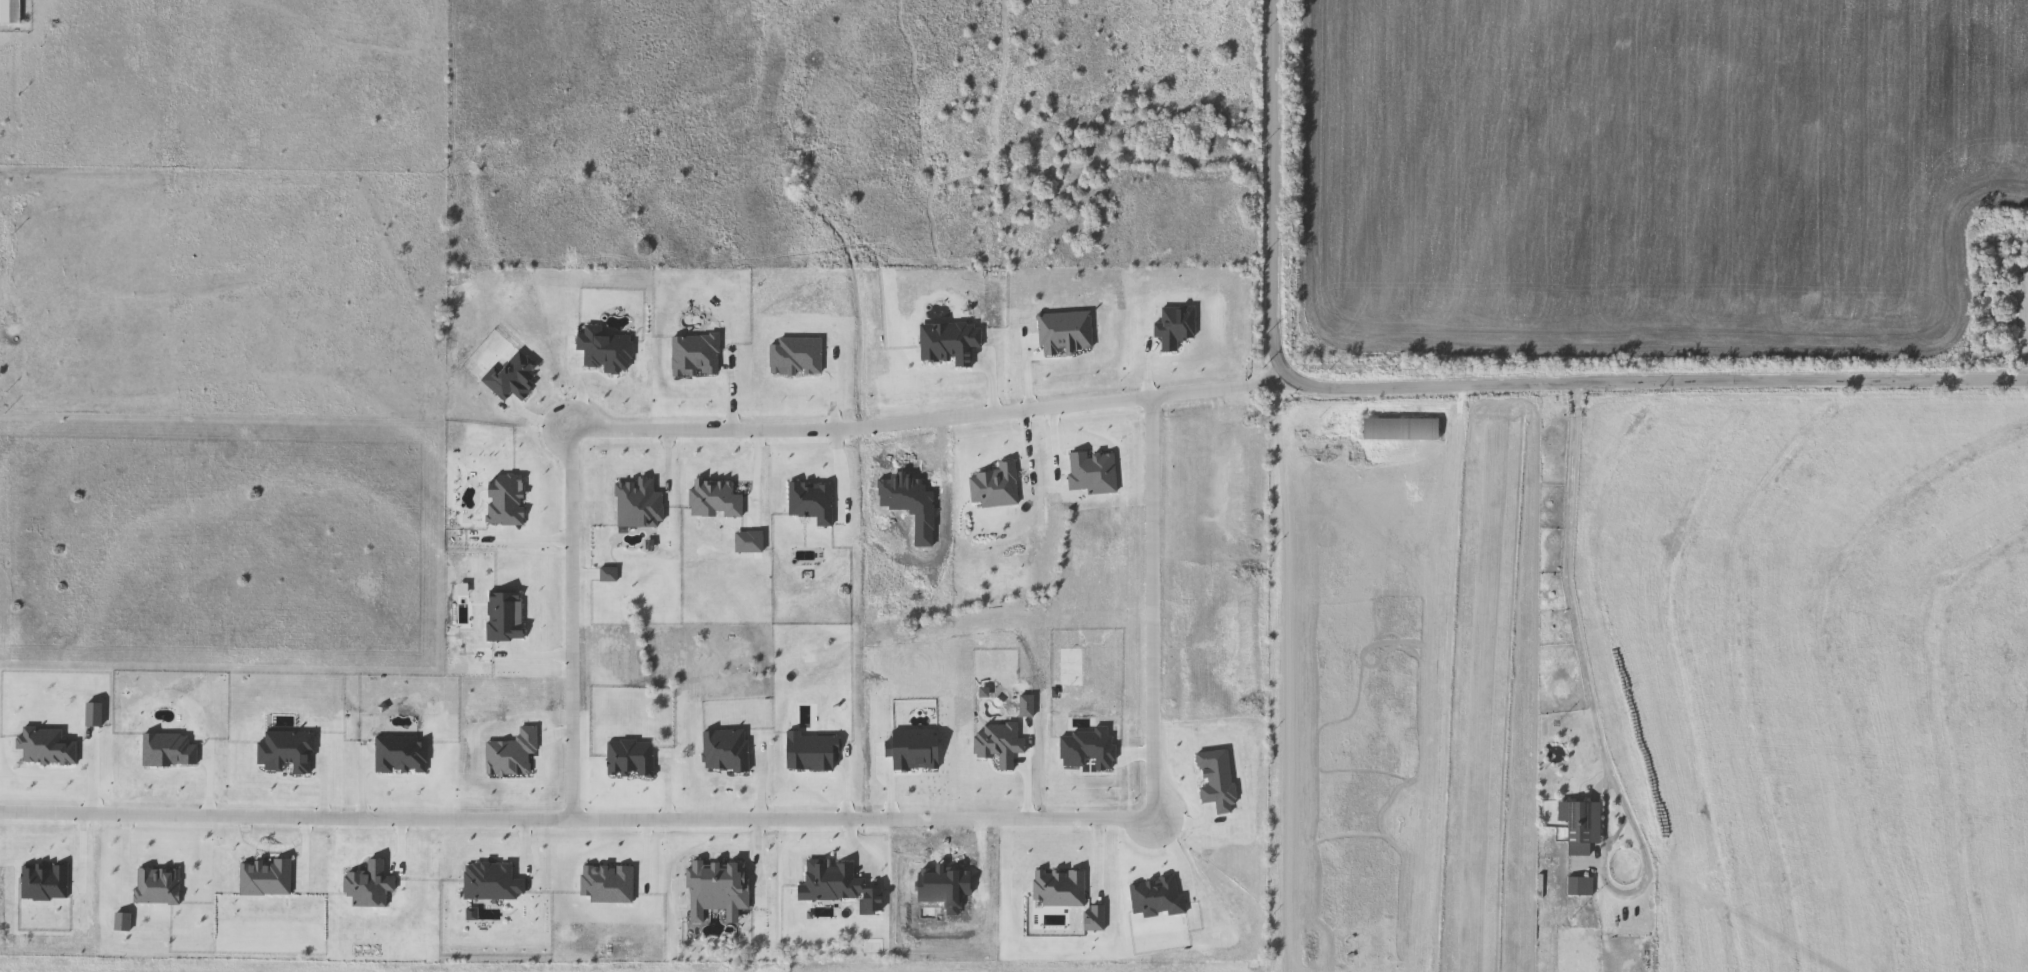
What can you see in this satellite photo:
building: (9, 10)
road: (1470, 384)
road: (742, 427)
building: (1400, 427)
road: (1455, 538)
road: (1578, 645)
airport: (1403, 687)
airport runway: (1486, 703)
road: (780, 818)
building: (1571, 823)
building: (1579, 885)

